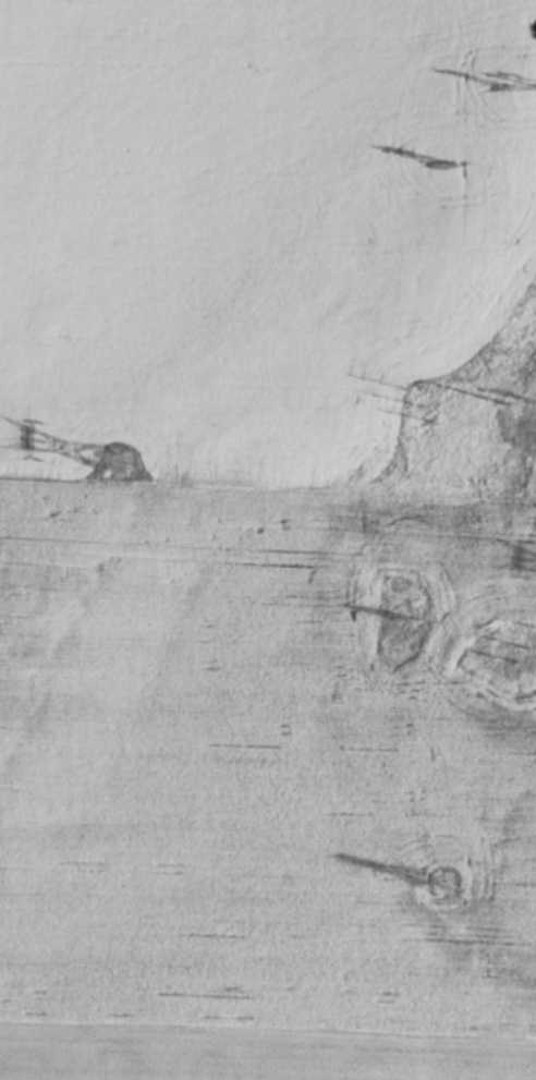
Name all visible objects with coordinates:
power tower: (505, 85)
power tower: (446, 162)
power tower: (499, 400)
power tower: (424, 406)
power tower: (121, 461)
power tower: (407, 620)
power tower: (534, 645)
power tower: (441, 878)

